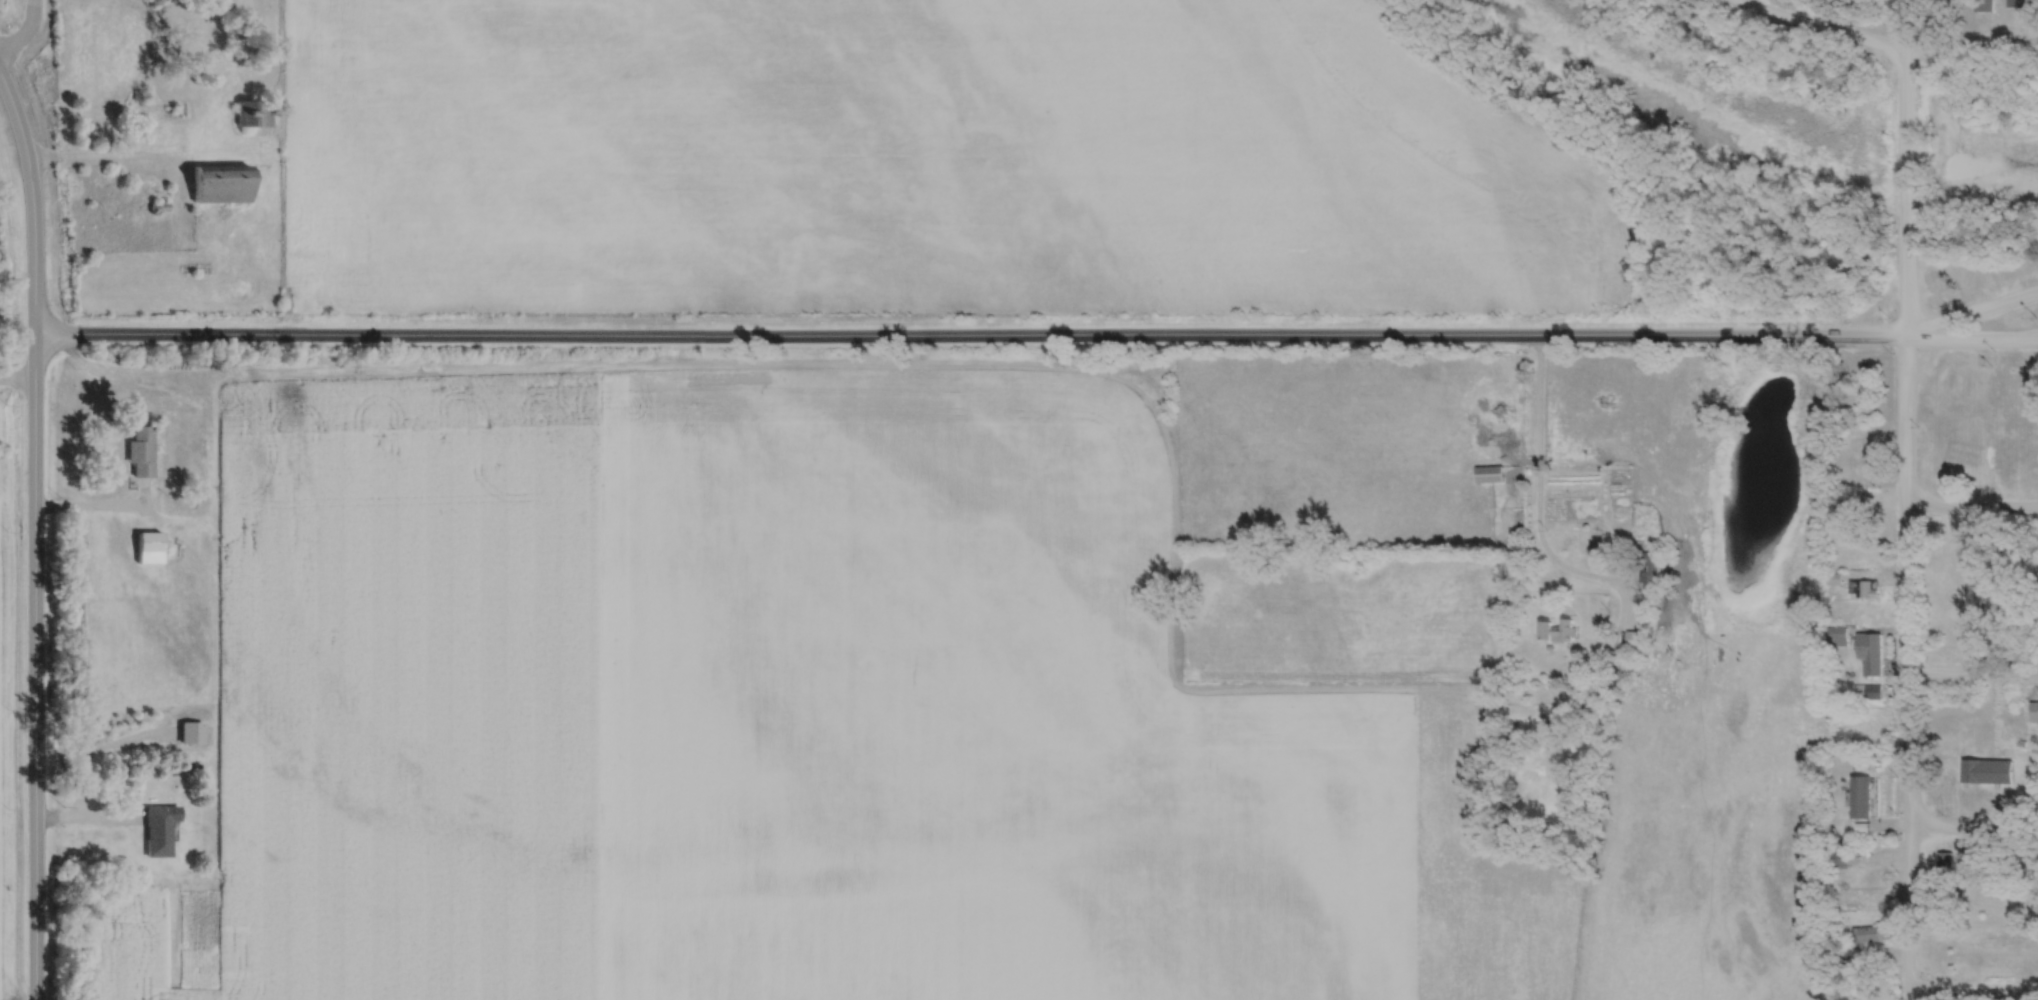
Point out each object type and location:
road: (28, 33)
road: (1882, 45)
building: (143, 96)
building: (257, 116)
road: (102, 154)
building: (223, 188)
road: (1975, 314)
road: (1037, 336)
road: (18, 379)
building: (1964, 394)
building: (143, 453)
building: (1859, 456)
building: (1491, 476)
road: (1536, 484)
road: (1908, 499)
road: (1973, 504)
road: (36, 533)
building: (1838, 534)
building: (151, 542)
building: (1867, 557)
building: (1651, 568)
building: (1866, 590)
building: (1560, 632)
building: (1840, 638)
building: (1636, 639)
building: (1872, 654)
road: (1974, 670)
building: (1874, 694)
building: (2035, 711)
building: (1990, 773)
building: (1864, 798)
road: (89, 817)
road: (1973, 825)
building: (159, 833)
building: (1841, 860)
building: (1869, 880)
building: (1874, 936)
road: (1973, 991)

